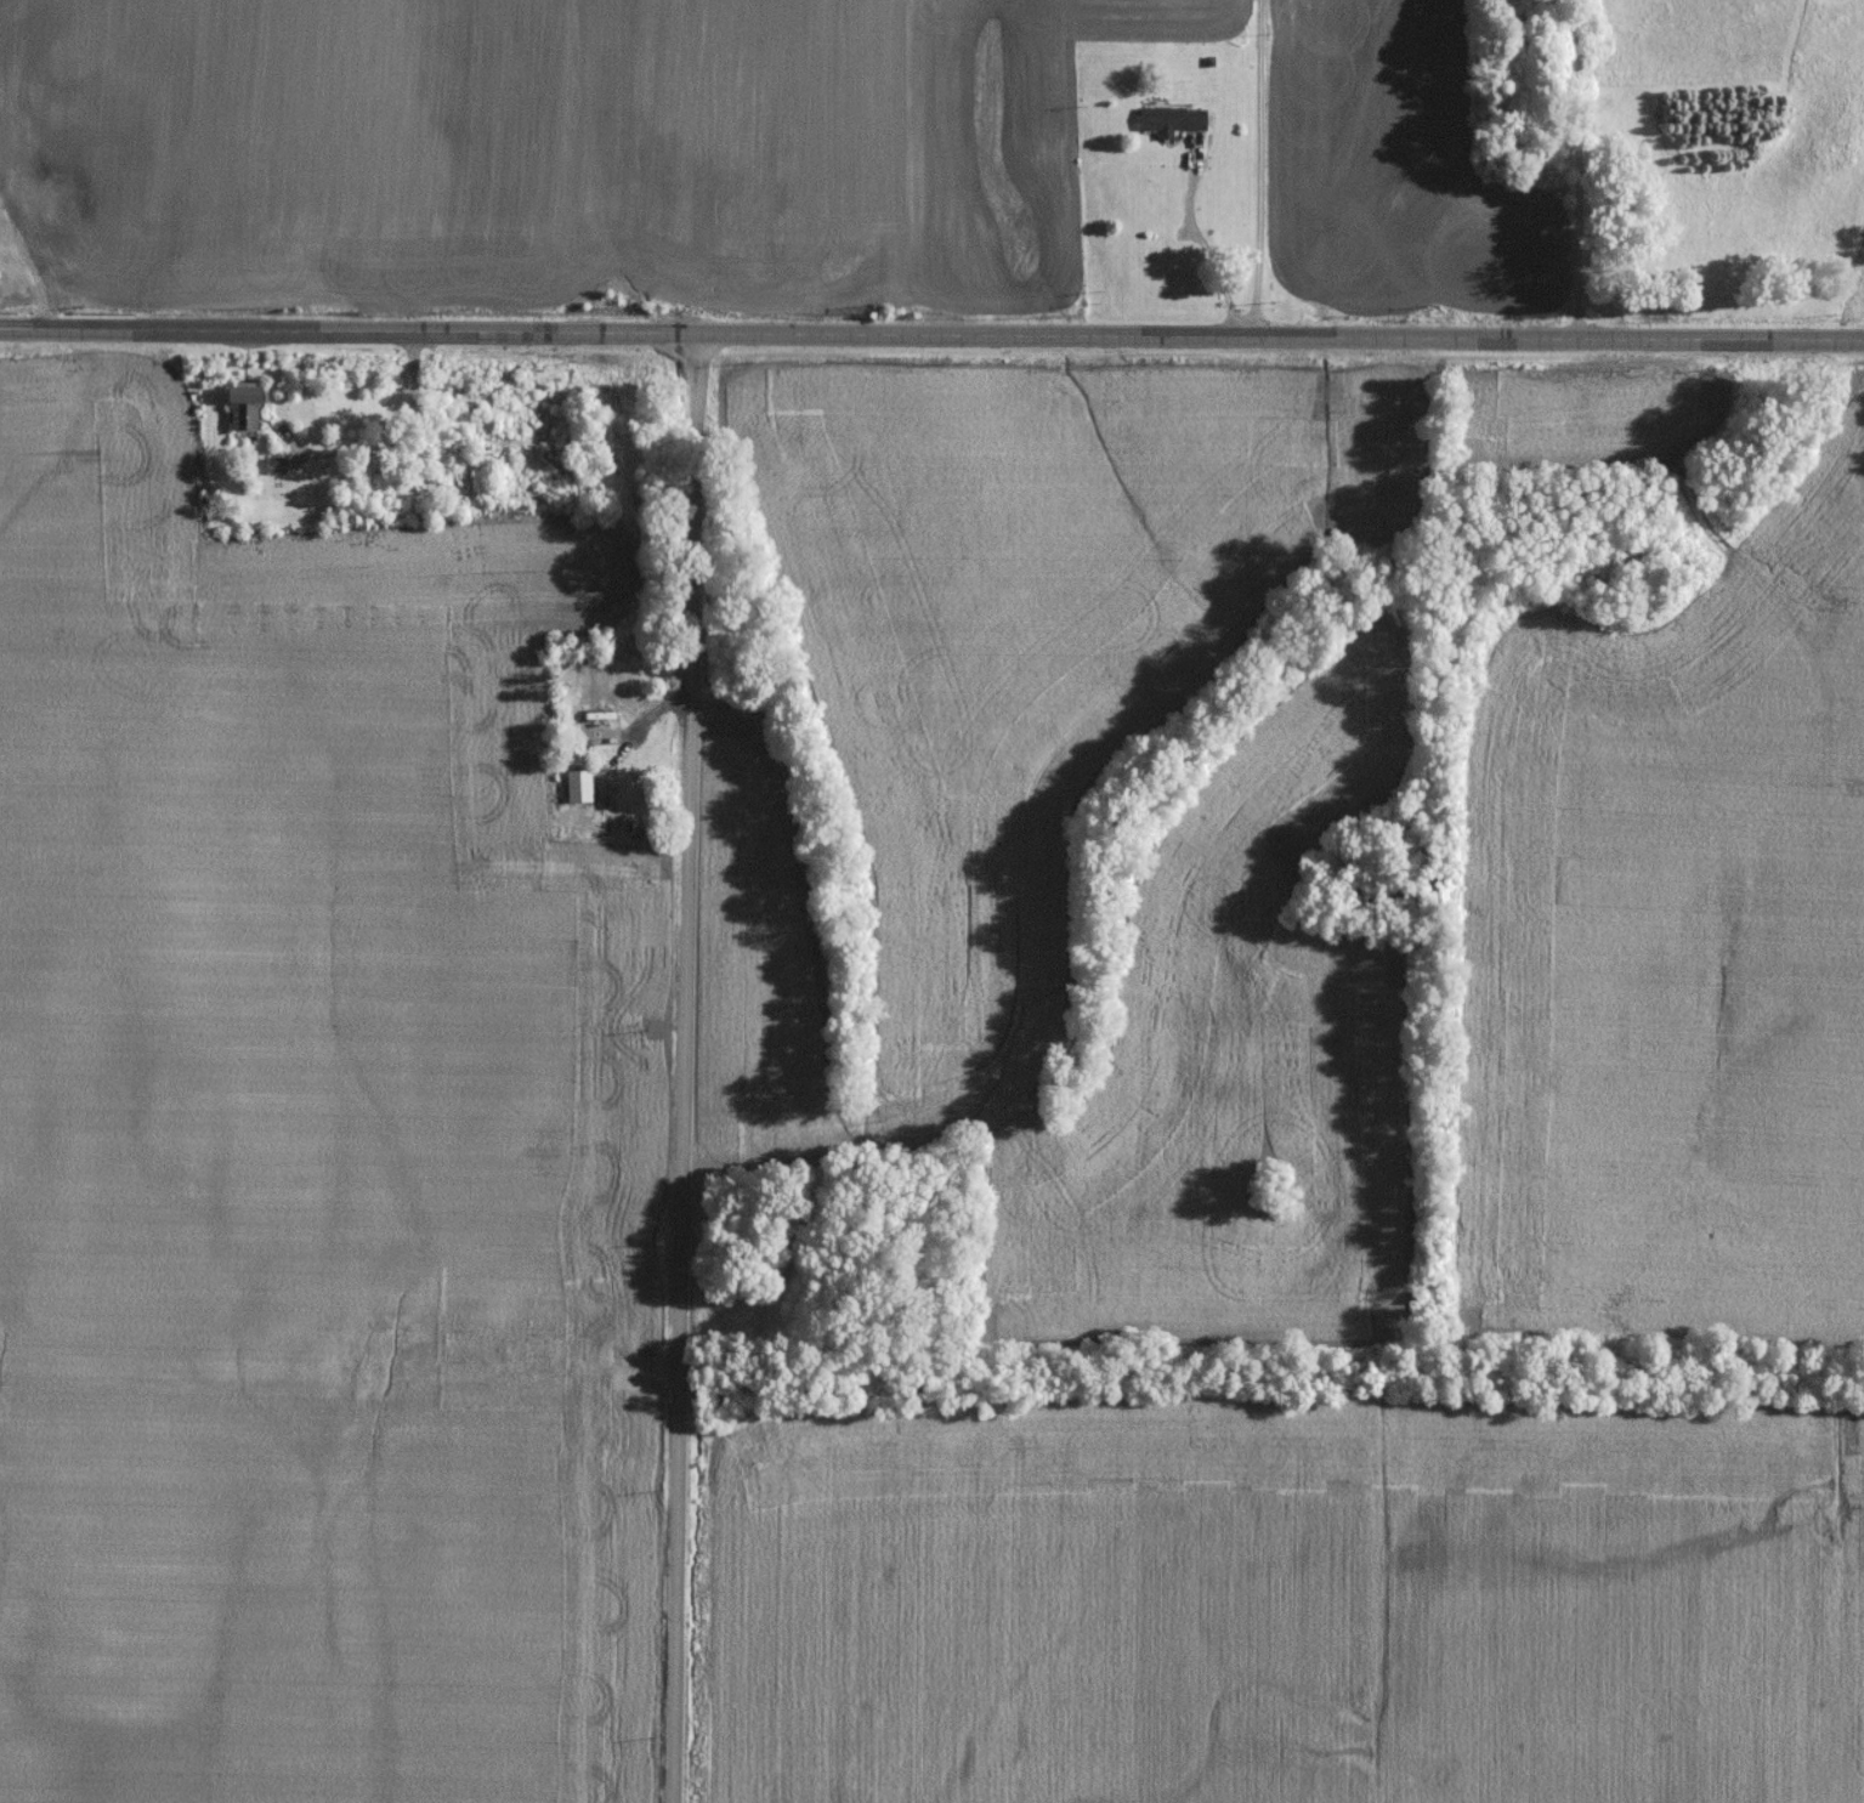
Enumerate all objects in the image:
building: (1173, 123)
road: (1256, 169)
road: (1574, 170)
road: (1196, 240)
road: (931, 336)
building: (245, 412)
building: (602, 701)
road: (680, 1068)

